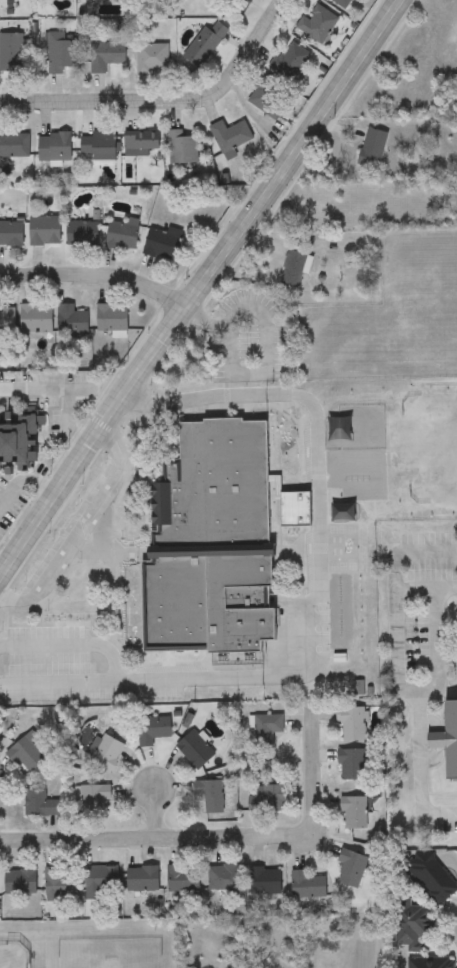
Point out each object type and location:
building: (95, 0)
building: (249, 1)
building: (150, 2)
building: (343, 3)
building: (317, 23)
building: (204, 44)
building: (61, 51)
building: (12, 52)
building: (105, 55)
building: (152, 58)
building: (289, 61)
building: (267, 98)
road: (166, 107)
building: (230, 137)
building: (97, 143)
building: (141, 143)
building: (14, 145)
building: (54, 146)
building: (181, 147)
building: (373, 149)
building: (321, 208)
building: (45, 229)
building: (11, 233)
building: (82, 233)
building: (122, 233)
building: (162, 244)
building: (294, 269)
road: (95, 279)
road: (199, 291)
building: (111, 317)
building: (7, 318)
building: (36, 318)
building: (71, 320)
road: (59, 399)
building: (19, 444)
building: (289, 450)
road: (27, 480)
road: (78, 528)
building: (213, 540)
road: (408, 552)
road: (319, 601)
road: (434, 645)
road: (70, 646)
road: (406, 691)
building: (353, 723)
building: (267, 730)
building: (155, 731)
building: (0, 738)
building: (448, 740)
building: (196, 751)
building: (105, 753)
building: (26, 755)
building: (352, 765)
road: (309, 774)
building: (210, 797)
building: (95, 798)
building: (268, 800)
building: (41, 805)
building: (354, 814)
road: (153, 815)
road: (154, 839)
building: (352, 869)
building: (432, 878)
building: (184, 879)
building: (226, 880)
building: (265, 882)
building: (21, 883)
building: (144, 883)
building: (61, 885)
building: (102, 885)
building: (308, 887)
building: (414, 926)
building: (432, 963)

